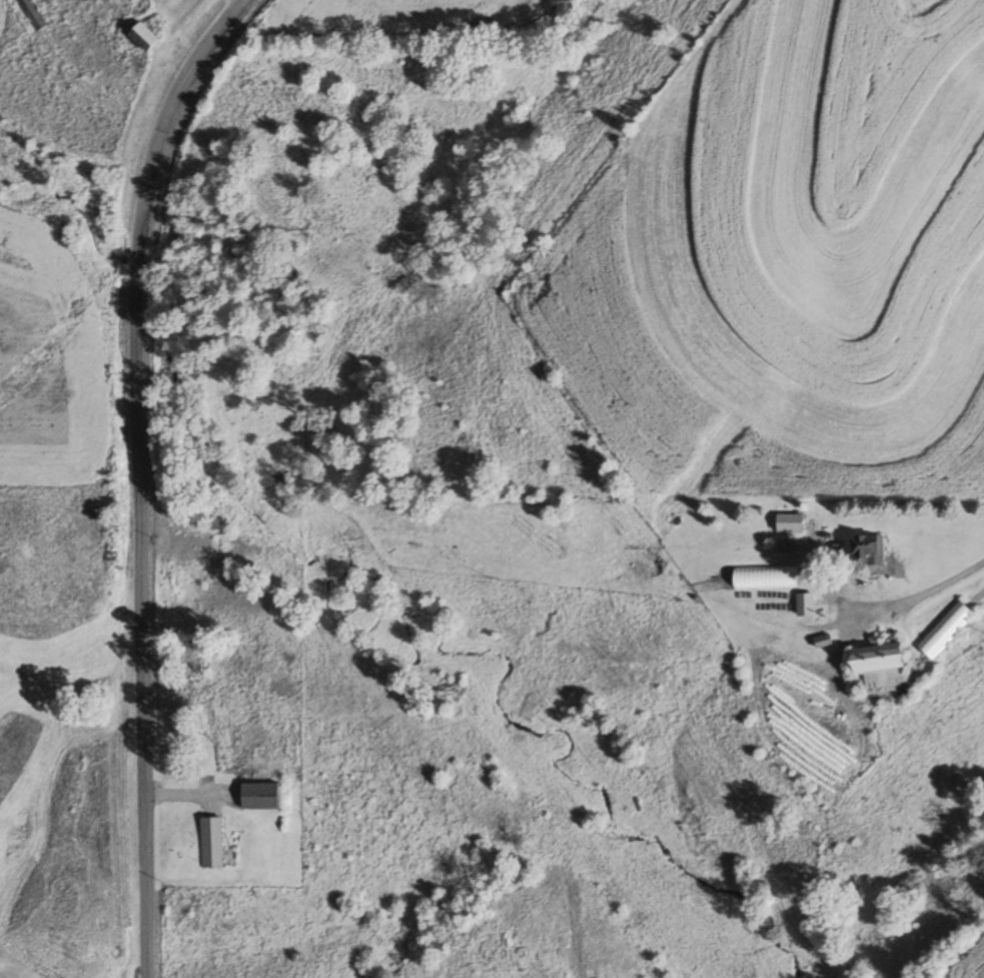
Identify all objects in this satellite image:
building: (24, 15)
building: (143, 36)
road: (137, 475)
building: (789, 523)
building: (786, 546)
building: (867, 549)
building: (765, 578)
building: (804, 606)
road: (861, 618)
building: (946, 630)
building: (881, 666)
building: (261, 797)
building: (210, 842)

